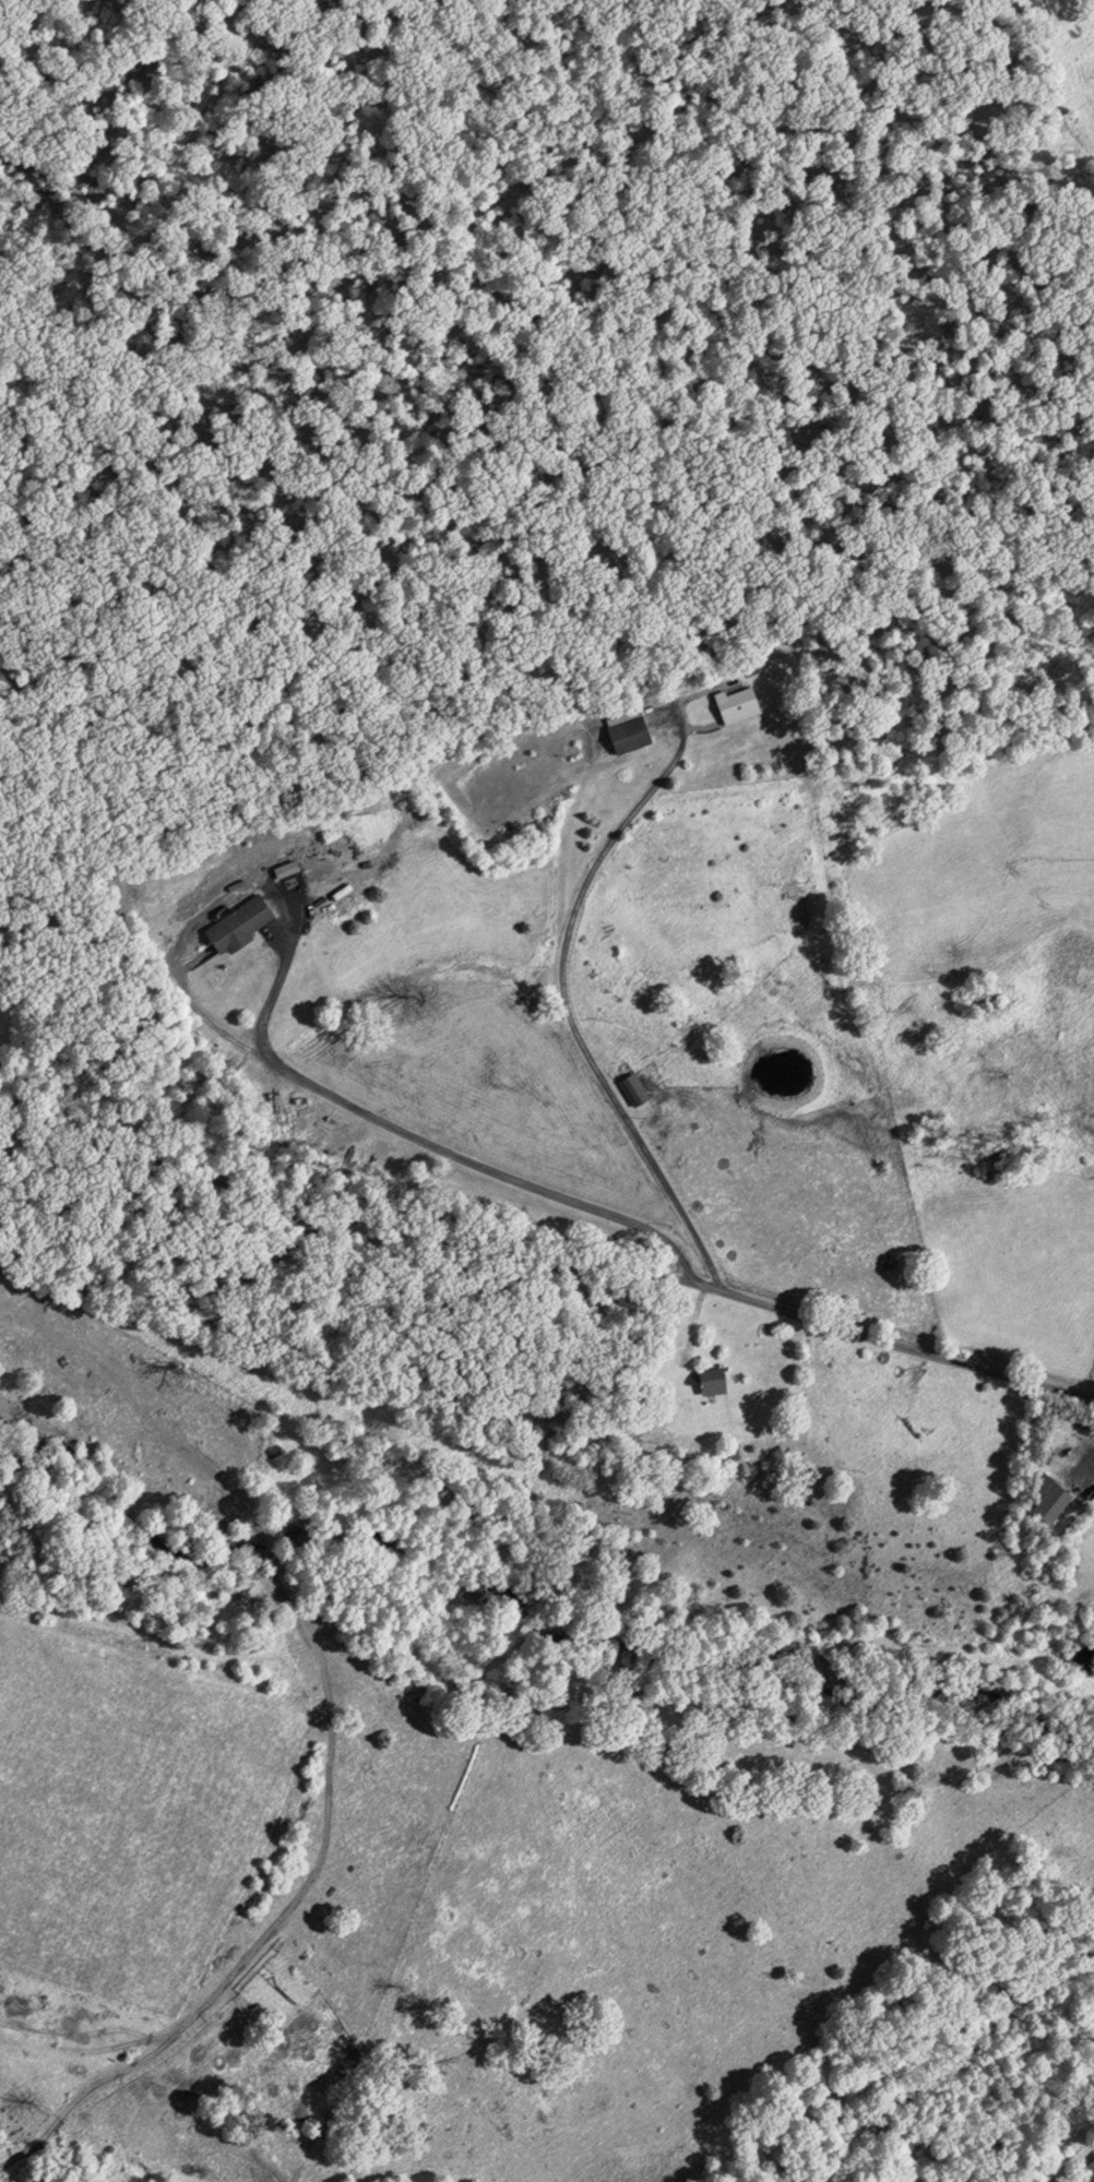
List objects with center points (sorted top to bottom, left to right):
building: (744, 704)
building: (634, 731)
road: (584, 885)
building: (246, 923)
road: (611, 1217)
building: (718, 1381)
building: (1045, 1499)
building: (1090, 2171)

